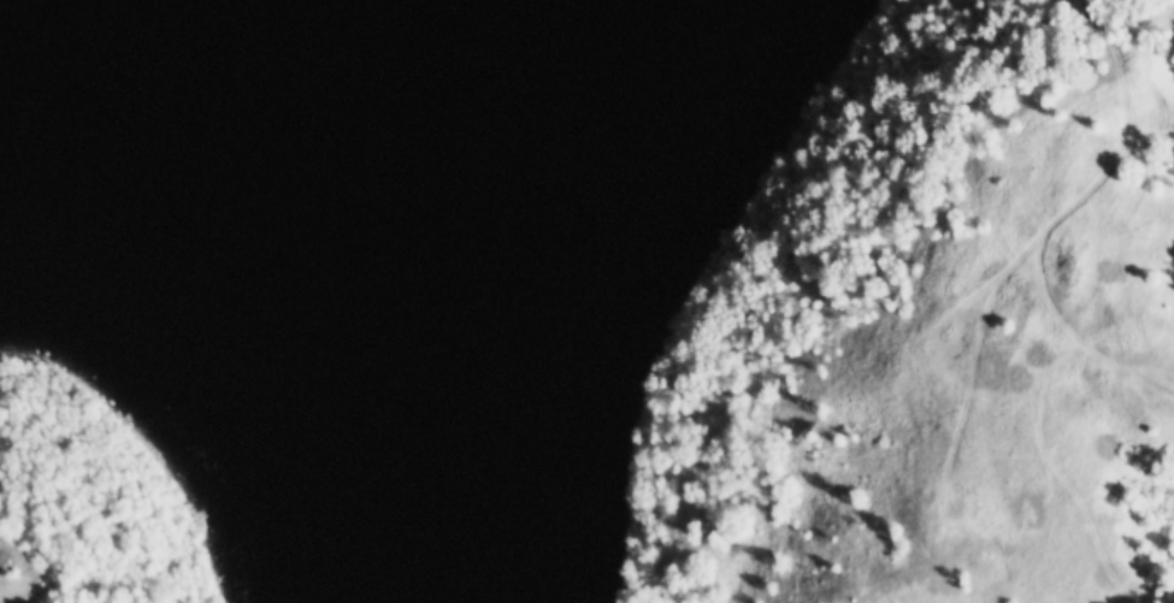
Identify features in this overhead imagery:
road: (1148, 388)

